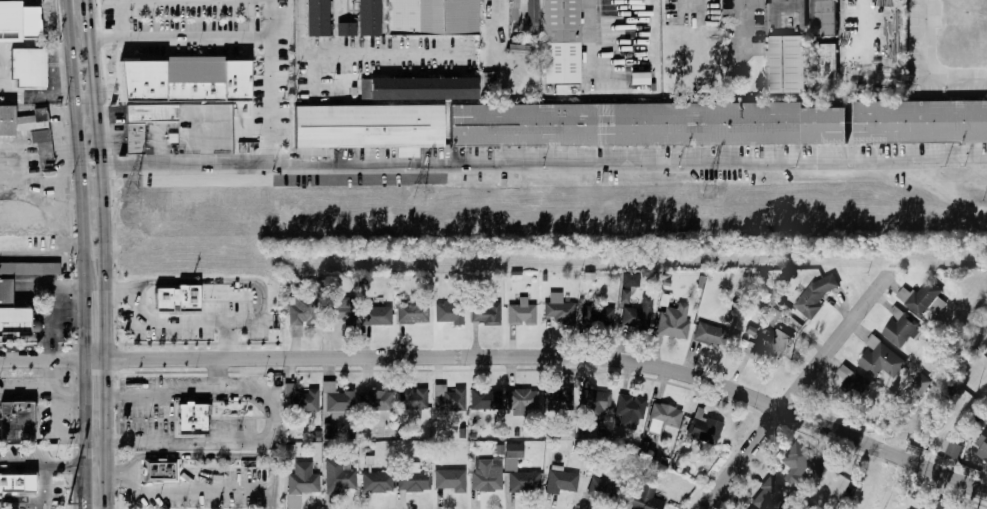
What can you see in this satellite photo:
parking lot: (5, 0)
road: (144, 0)
road: (87, 13)
building: (532, 13)
building: (785, 15)
building: (431, 16)
building: (312, 18)
building: (824, 18)
building: (8, 20)
building: (36, 20)
road: (746, 20)
building: (361, 21)
road: (588, 32)
road: (862, 33)
building: (559, 41)
road: (202, 42)
road: (358, 53)
parking lot: (370, 61)
building: (827, 61)
road: (54, 63)
building: (786, 65)
building: (26, 66)
road: (929, 71)
building: (185, 75)
building: (420, 87)
road: (36, 92)
road: (83, 103)
road: (273, 103)
building: (150, 112)
road: (74, 117)
building: (6, 119)
building: (921, 120)
building: (369, 123)
building: (644, 124)
building: (37, 135)
building: (134, 138)
road: (543, 162)
power tower: (708, 191)
road: (101, 192)
power tower: (420, 193)
power tower: (130, 194)
building: (29, 267)
road: (217, 279)
building: (631, 279)
building: (816, 295)
road: (82, 296)
building: (625, 296)
building: (176, 297)
building: (923, 298)
building: (10, 305)
building: (558, 308)
building: (301, 309)
road: (57, 310)
building: (340, 310)
building: (522, 312)
building: (413, 313)
building: (450, 313)
building: (376, 314)
building: (486, 314)
building: (597, 314)
building: (638, 314)
road: (167, 320)
building: (675, 321)
parking lot: (193, 323)
building: (14, 328)
building: (902, 329)
flagpole: (64, 333)
building: (710, 334)
flagpole: (60, 338)
road: (227, 338)
building: (771, 349)
road: (569, 357)
road: (94, 359)
building: (881, 359)
road: (31, 360)
road: (51, 373)
road: (218, 374)
building: (852, 384)
building: (921, 384)
road: (25, 386)
road: (794, 390)
road: (65, 395)
road: (250, 397)
building: (413, 398)
building: (483, 398)
road: (104, 399)
building: (449, 399)
building: (559, 399)
building: (336, 400)
building: (376, 400)
building: (300, 401)
building: (522, 401)
parking lot: (150, 402)
building: (597, 405)
building: (631, 410)
building: (664, 416)
building: (191, 418)
road: (274, 418)
building: (16, 420)
road: (56, 426)
building: (709, 429)
building: (329, 430)
road: (83, 433)
building: (982, 446)
building: (954, 449)
parking lot: (21, 452)
road: (208, 454)
flagpole: (64, 455)
building: (805, 460)
road: (24, 464)
road: (66, 465)
building: (160, 470)
building: (519, 472)
road: (105, 474)
building: (487, 475)
building: (341, 478)
building: (450, 479)
building: (414, 480)
building: (562, 480)
building: (377, 482)
building: (17, 483)
building: (301, 483)
road: (43, 486)
road: (192, 488)
parking lot: (212, 489)
building: (604, 490)
parking lot: (58, 493)
building: (769, 494)
road: (21, 499)
building: (644, 499)
building: (935, 504)
road: (21, 506)
building: (750, 508)

